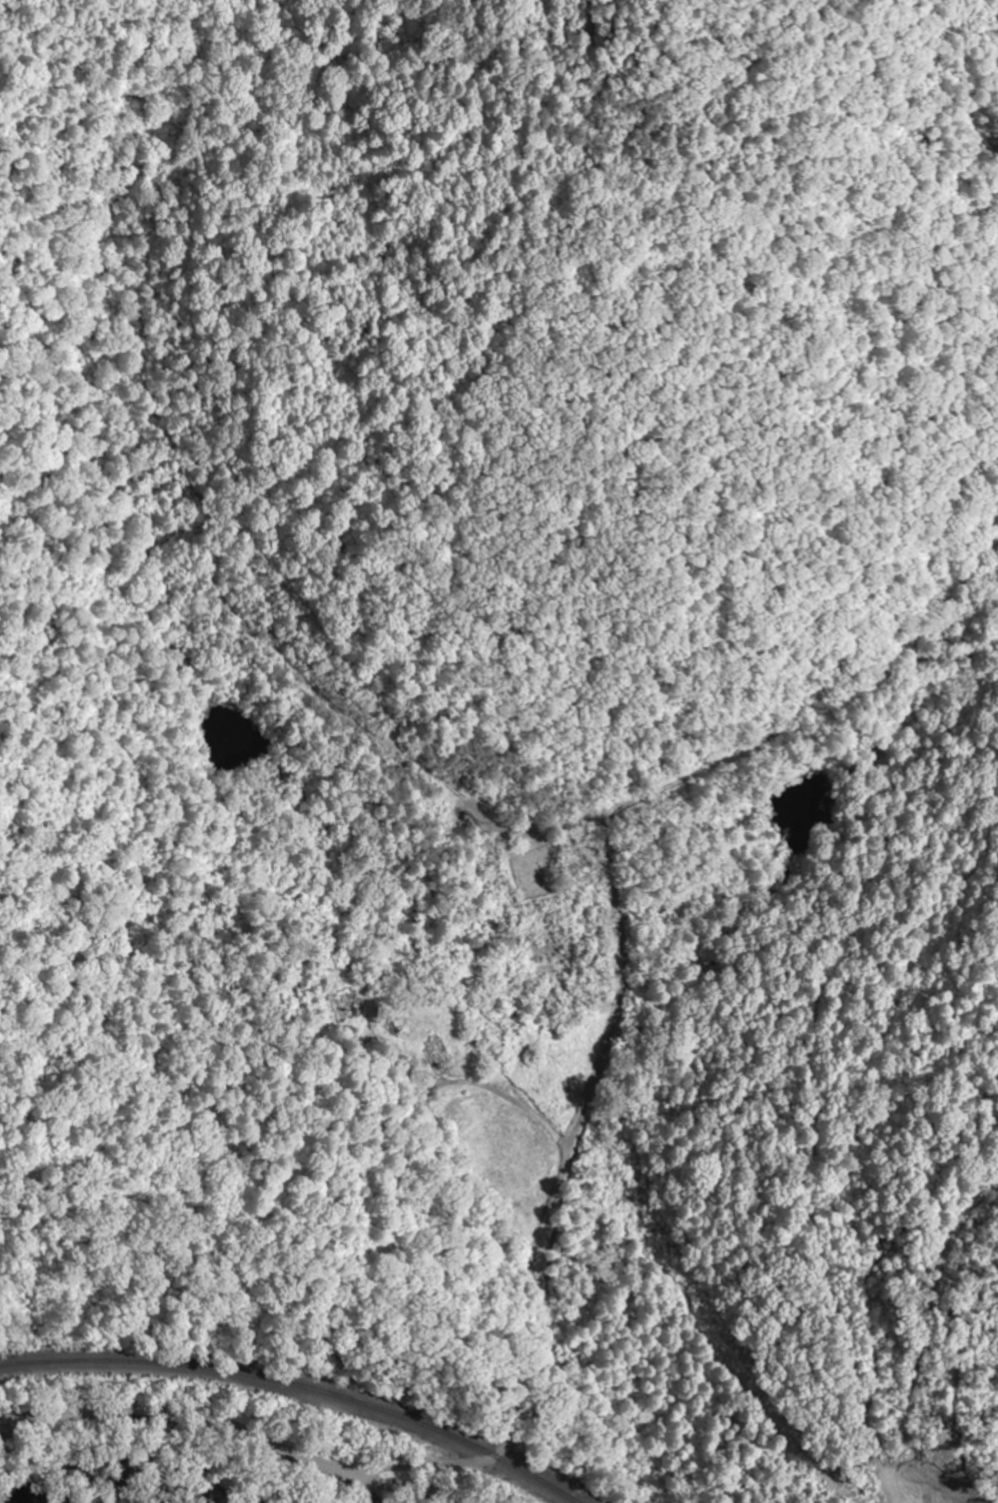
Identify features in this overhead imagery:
road: (539, 1303)
railway: (300, 1386)
road: (238, 1430)

